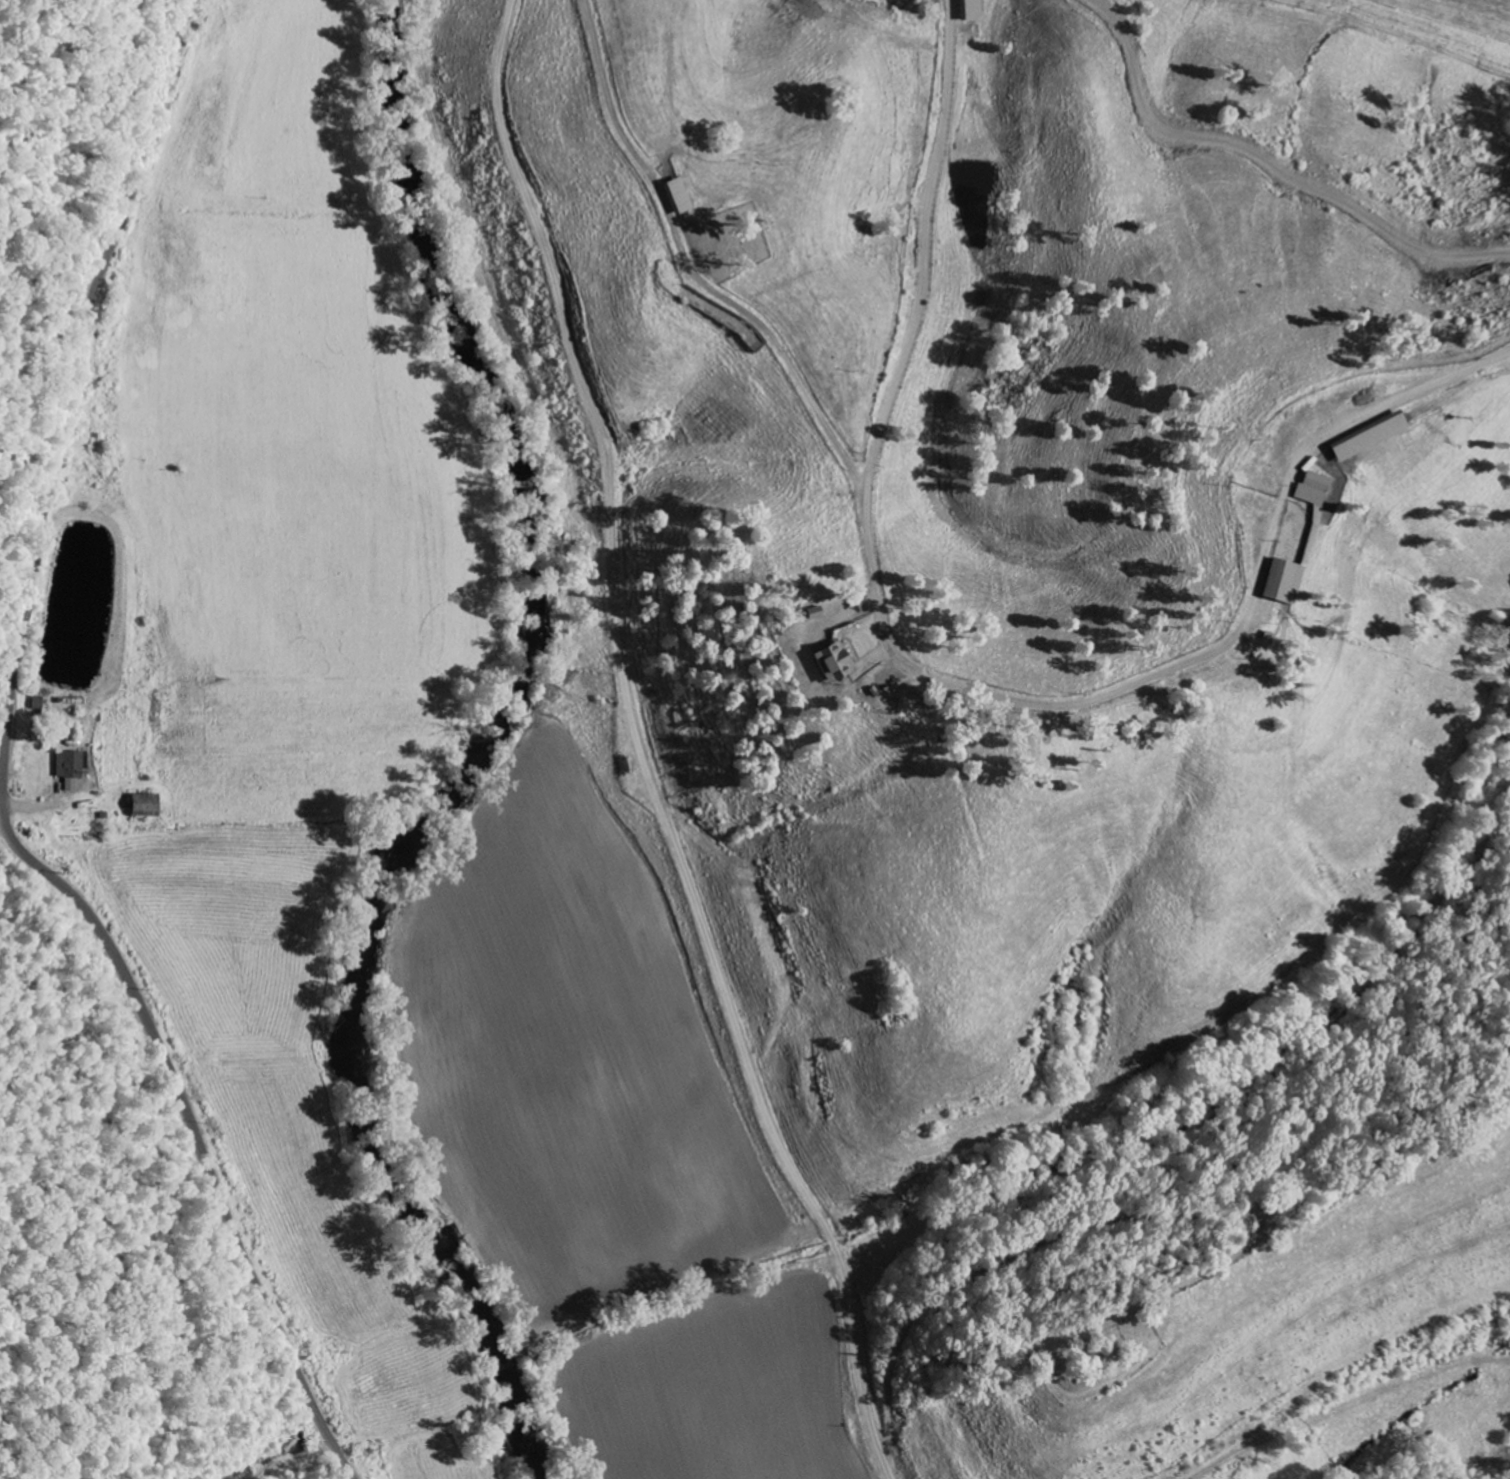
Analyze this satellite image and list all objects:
building: (968, 10)
building: (674, 196)
building: (1359, 435)
building: (1303, 487)
building: (1272, 580)
building: (809, 613)
building: (827, 663)
river: (469, 755)
building: (68, 769)
road: (21, 772)
building: (142, 806)
road: (1088, 1226)
road: (886, 1451)

